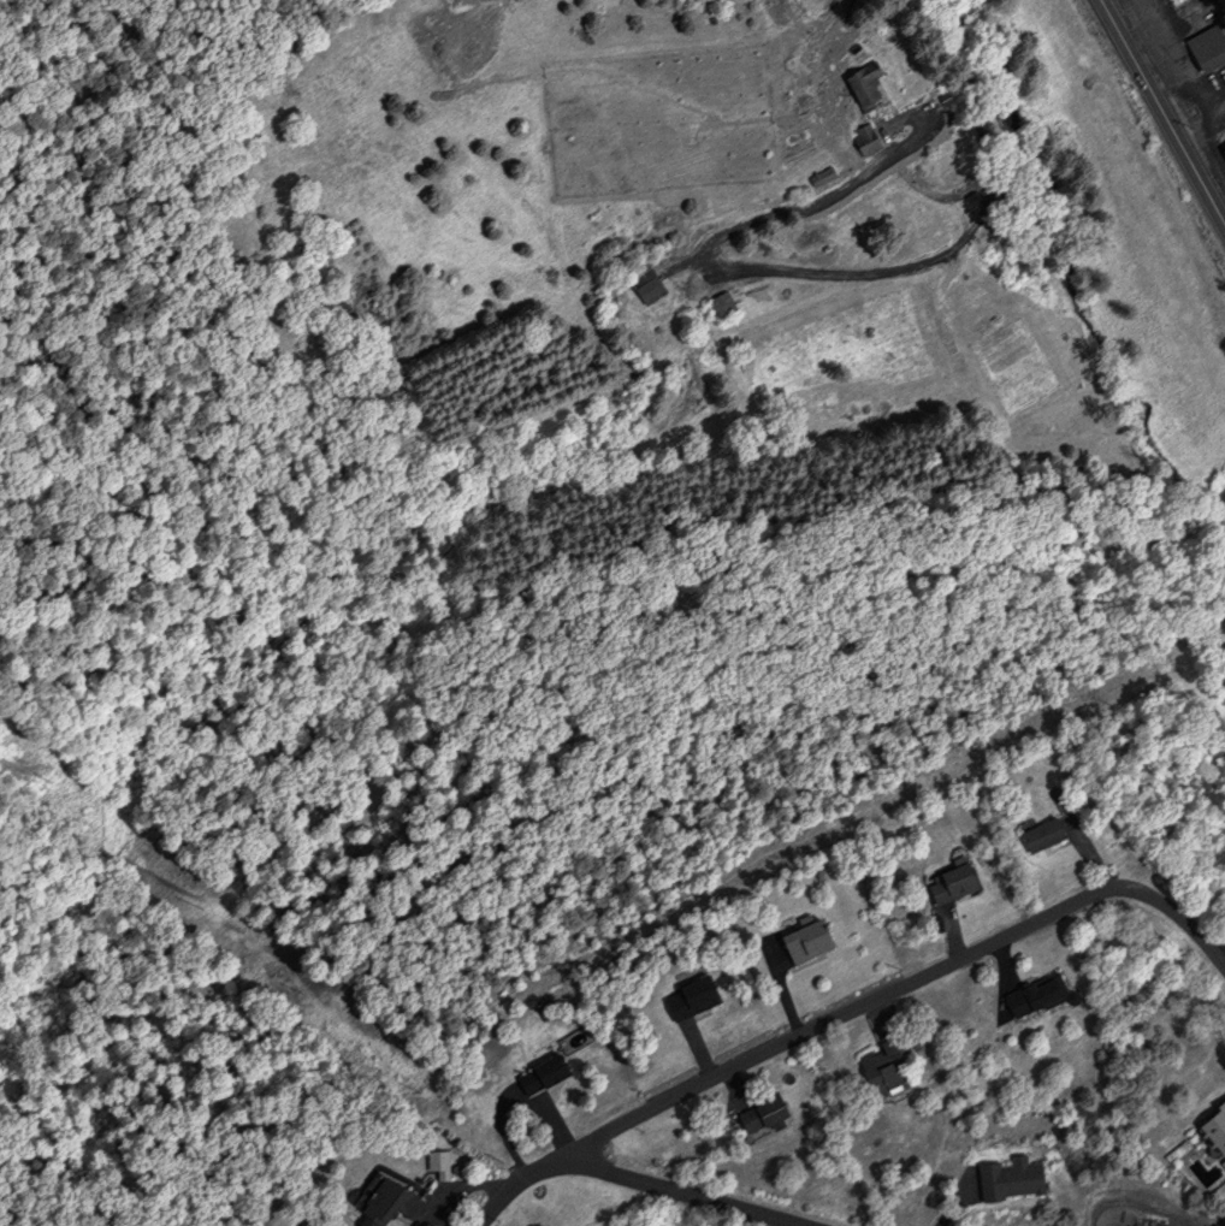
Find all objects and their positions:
building: (1206, 48)
building: (865, 93)
road: (1159, 114)
building: (1223, 148)
road: (933, 256)
building: (643, 282)
building: (720, 303)
building: (1038, 833)
building: (953, 879)
building: (801, 940)
building: (1032, 994)
building: (688, 996)
road: (846, 1003)
building: (880, 1068)
building: (539, 1072)
building: (758, 1113)
building: (1212, 1126)
building: (1007, 1177)
road: (682, 1191)
building: (381, 1202)

